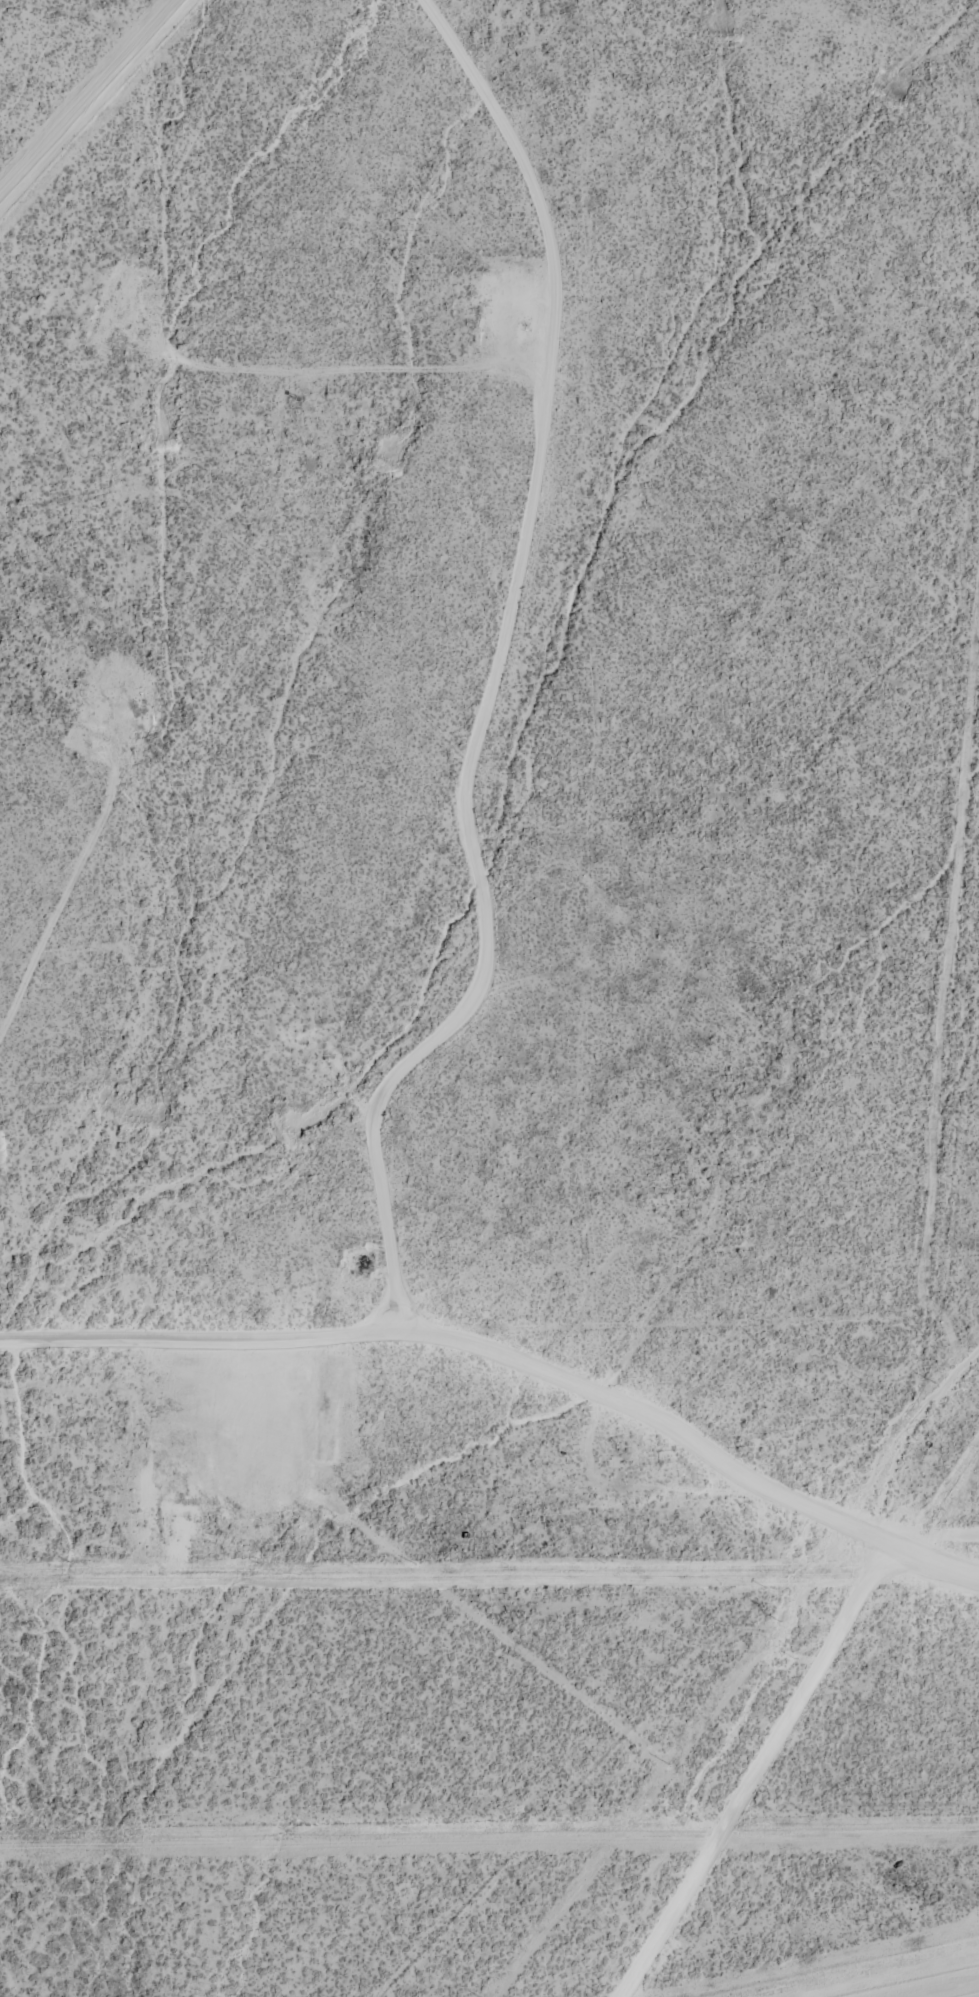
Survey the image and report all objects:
road: (322, 341)
road: (500, 655)
road: (924, 1258)
road: (468, 1381)
road: (944, 1537)
road: (750, 1771)

